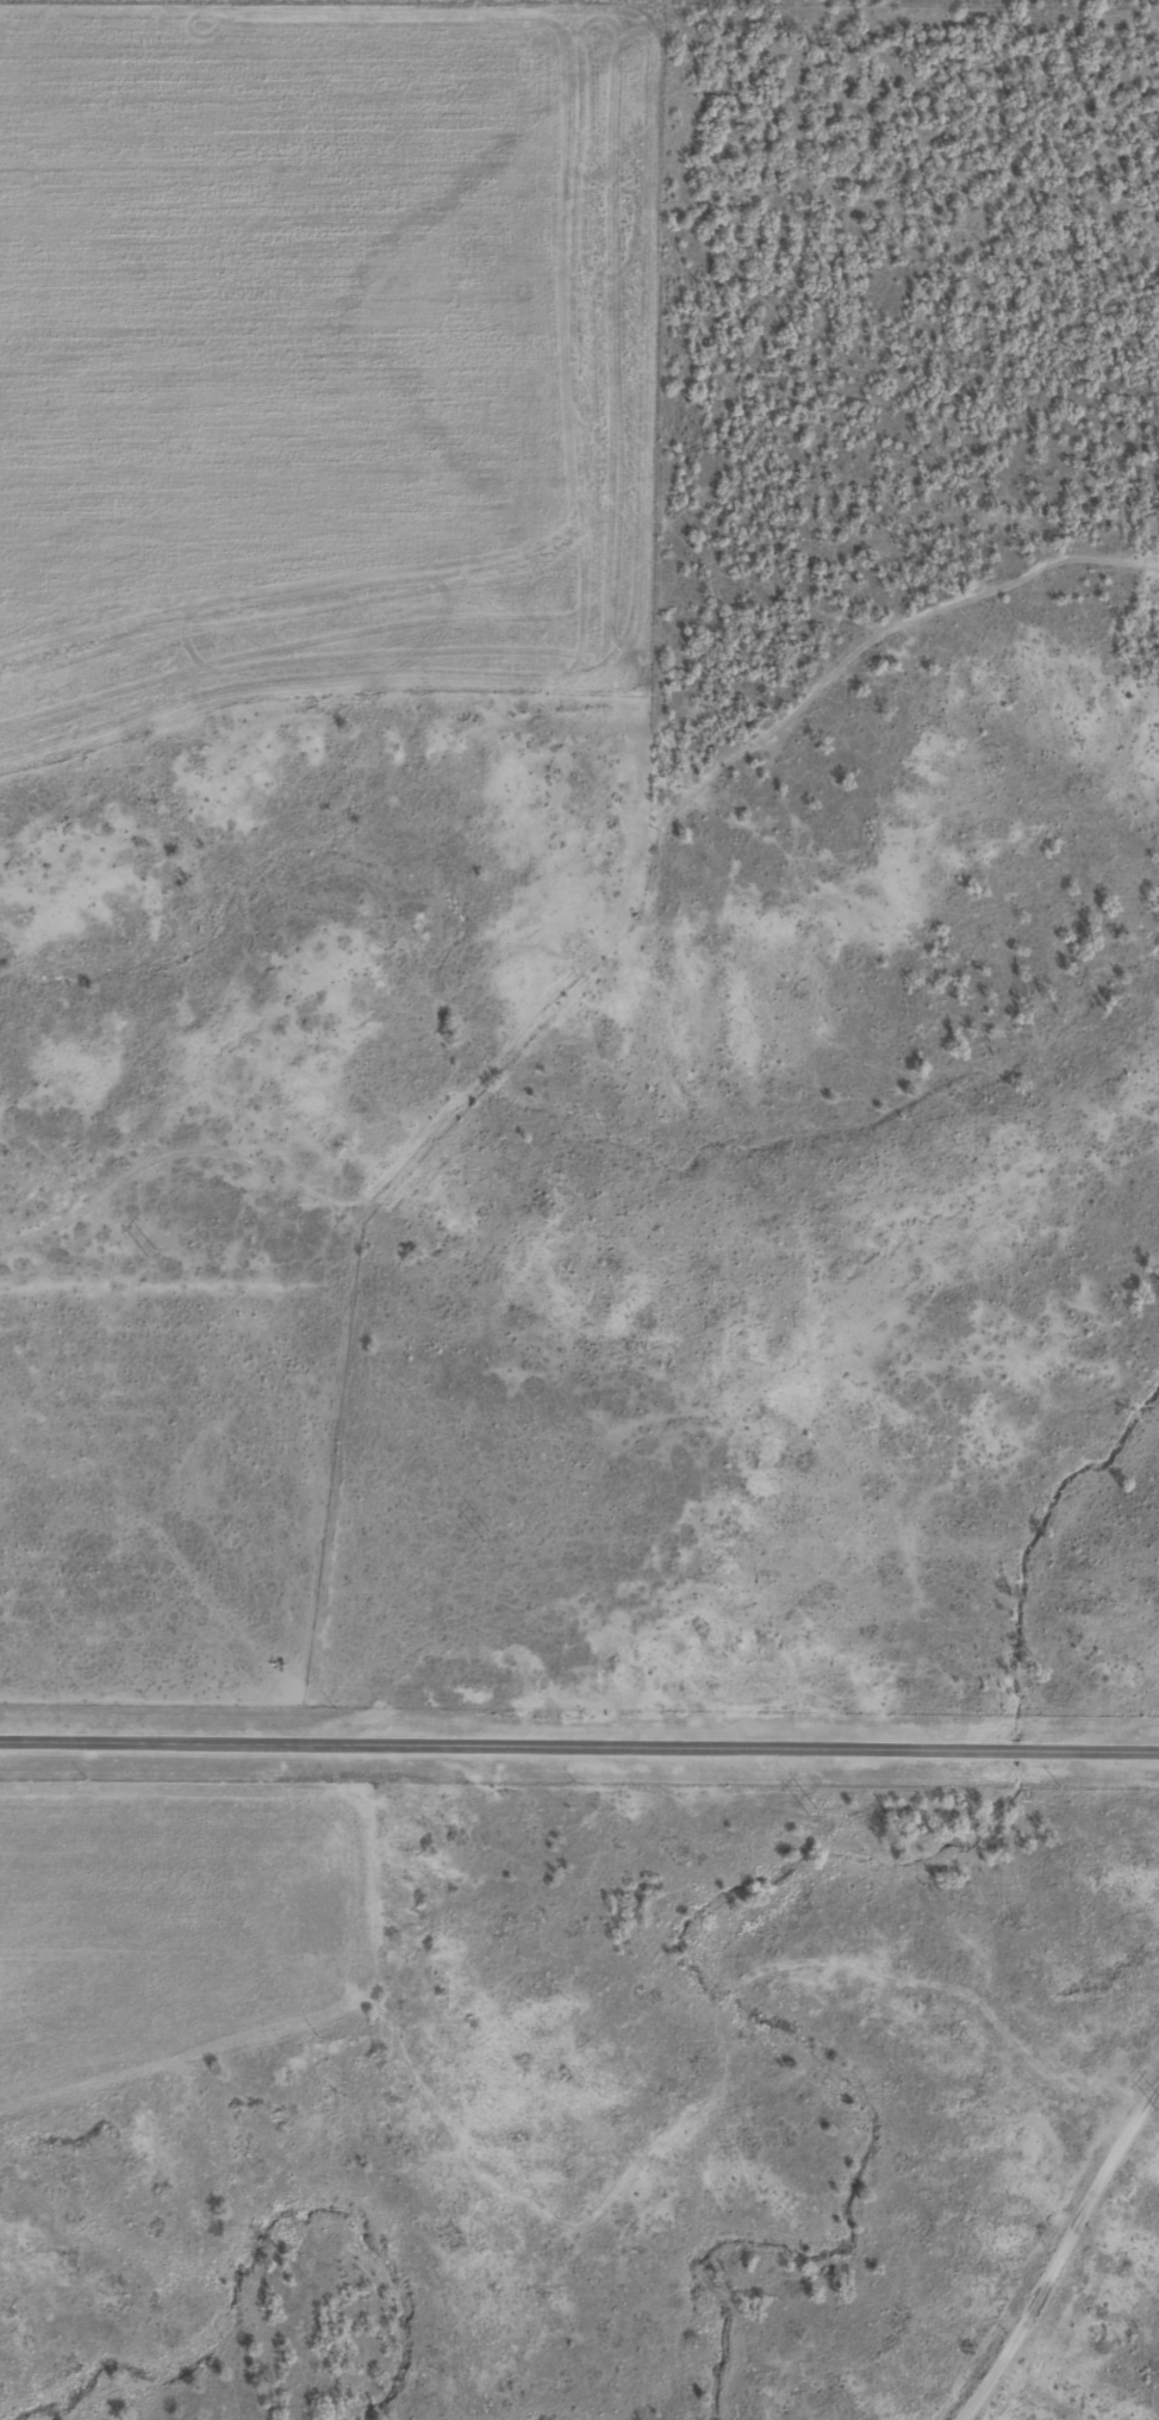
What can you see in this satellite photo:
power tower: (152, 1251)
power tower: (486, 1535)
road: (579, 1748)
power tower: (815, 1812)
road: (1054, 2252)

